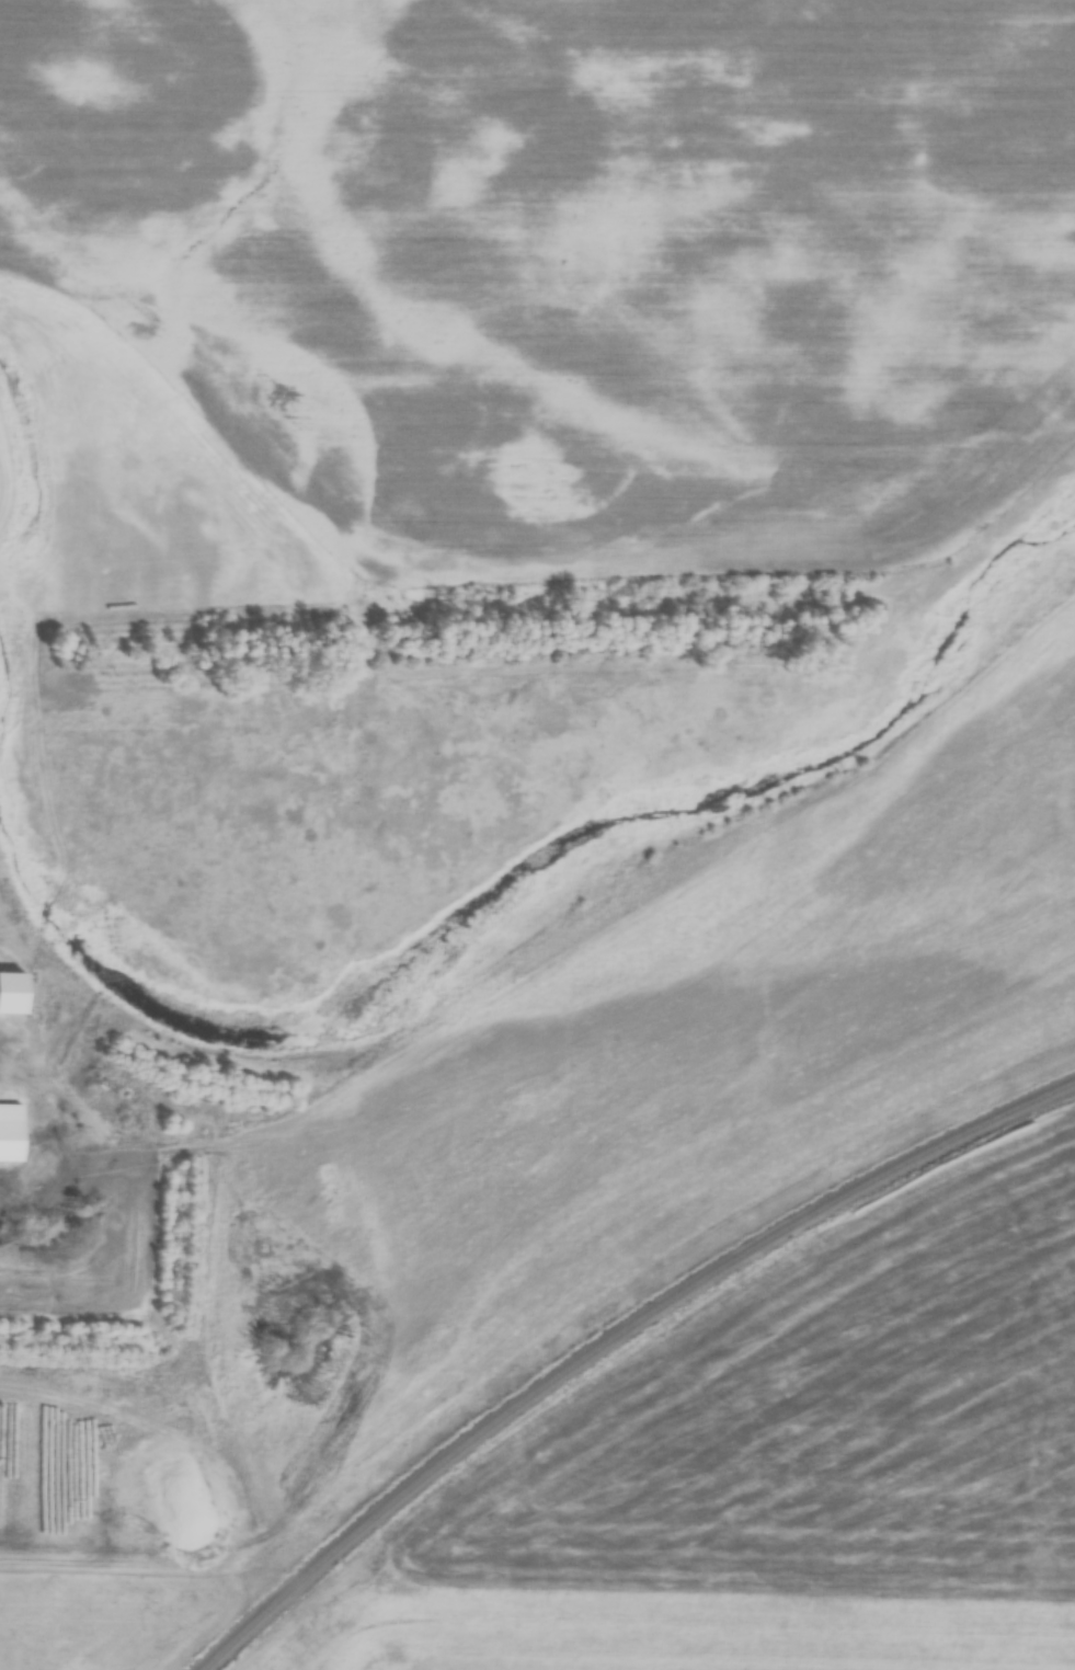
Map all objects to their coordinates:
building: (13, 1132)
railway: (619, 1342)

